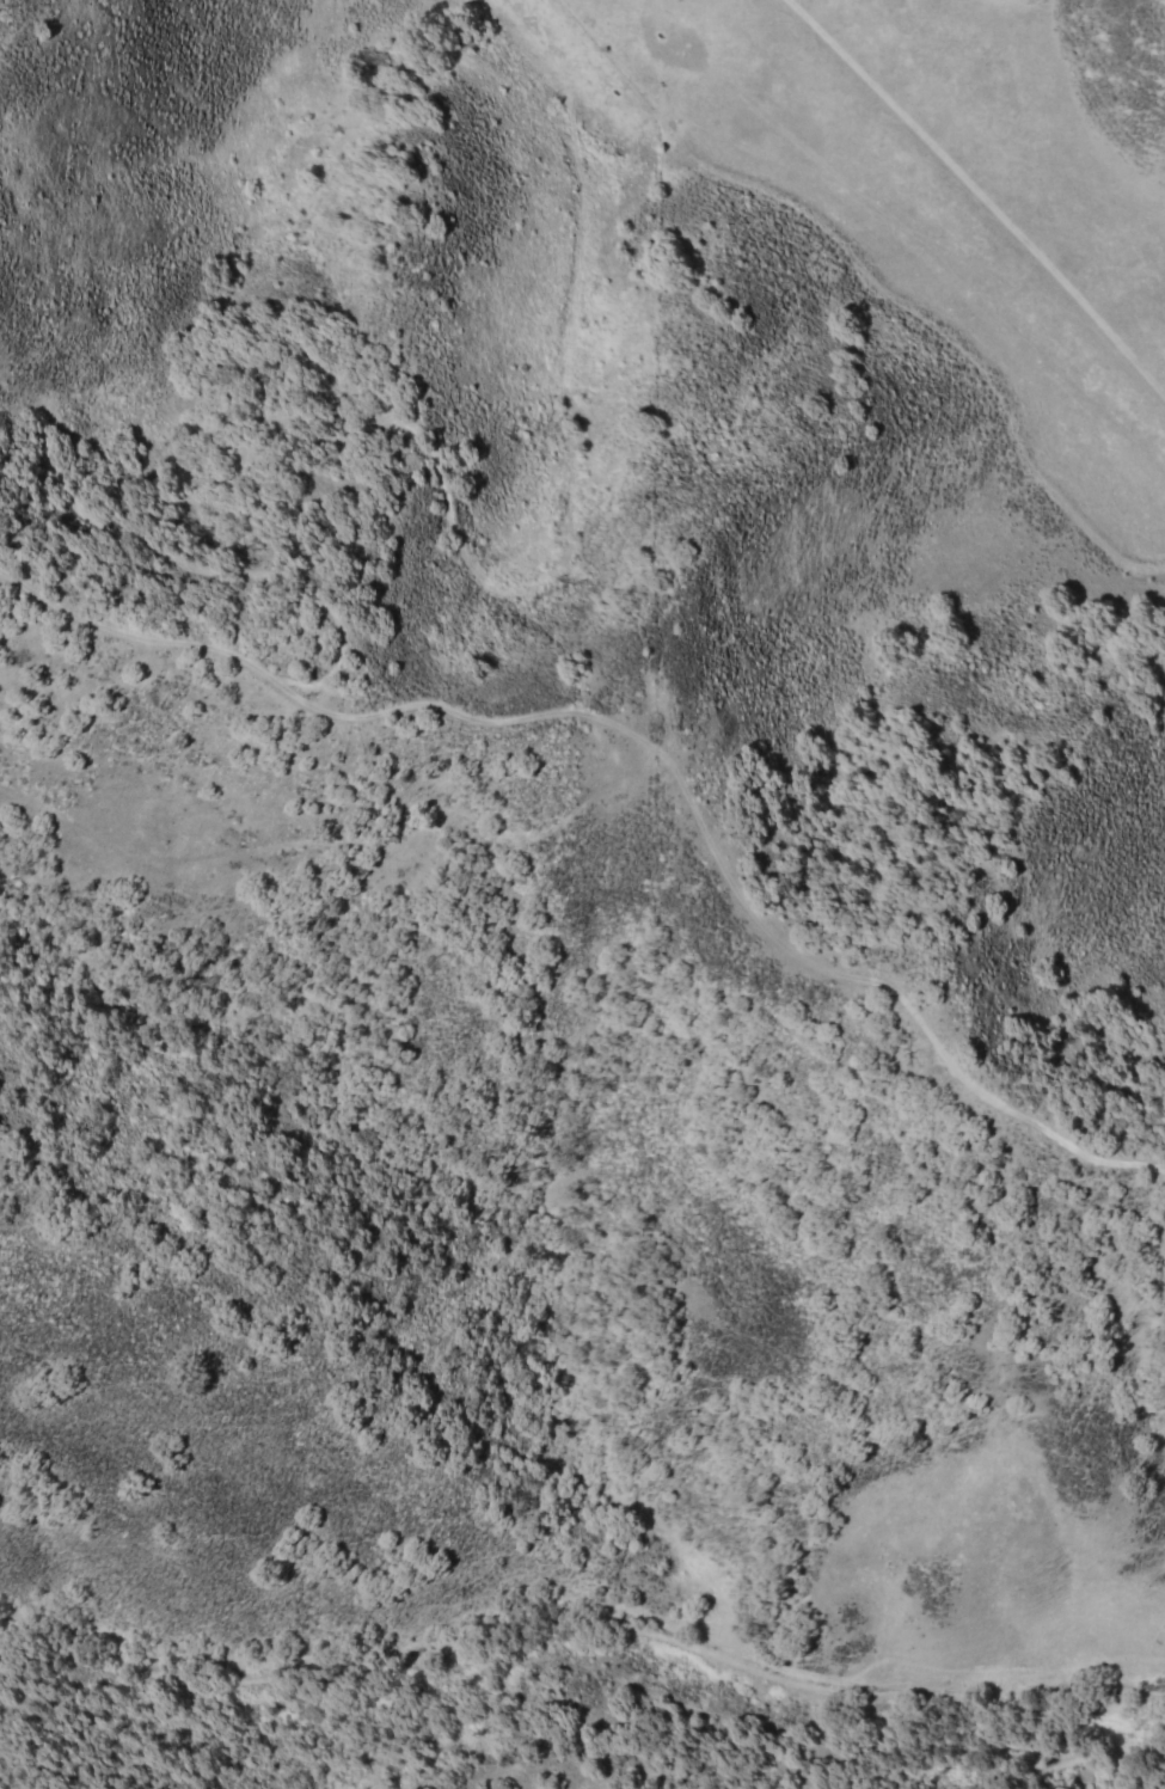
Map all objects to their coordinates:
road: (980, 198)
road: (196, 483)

